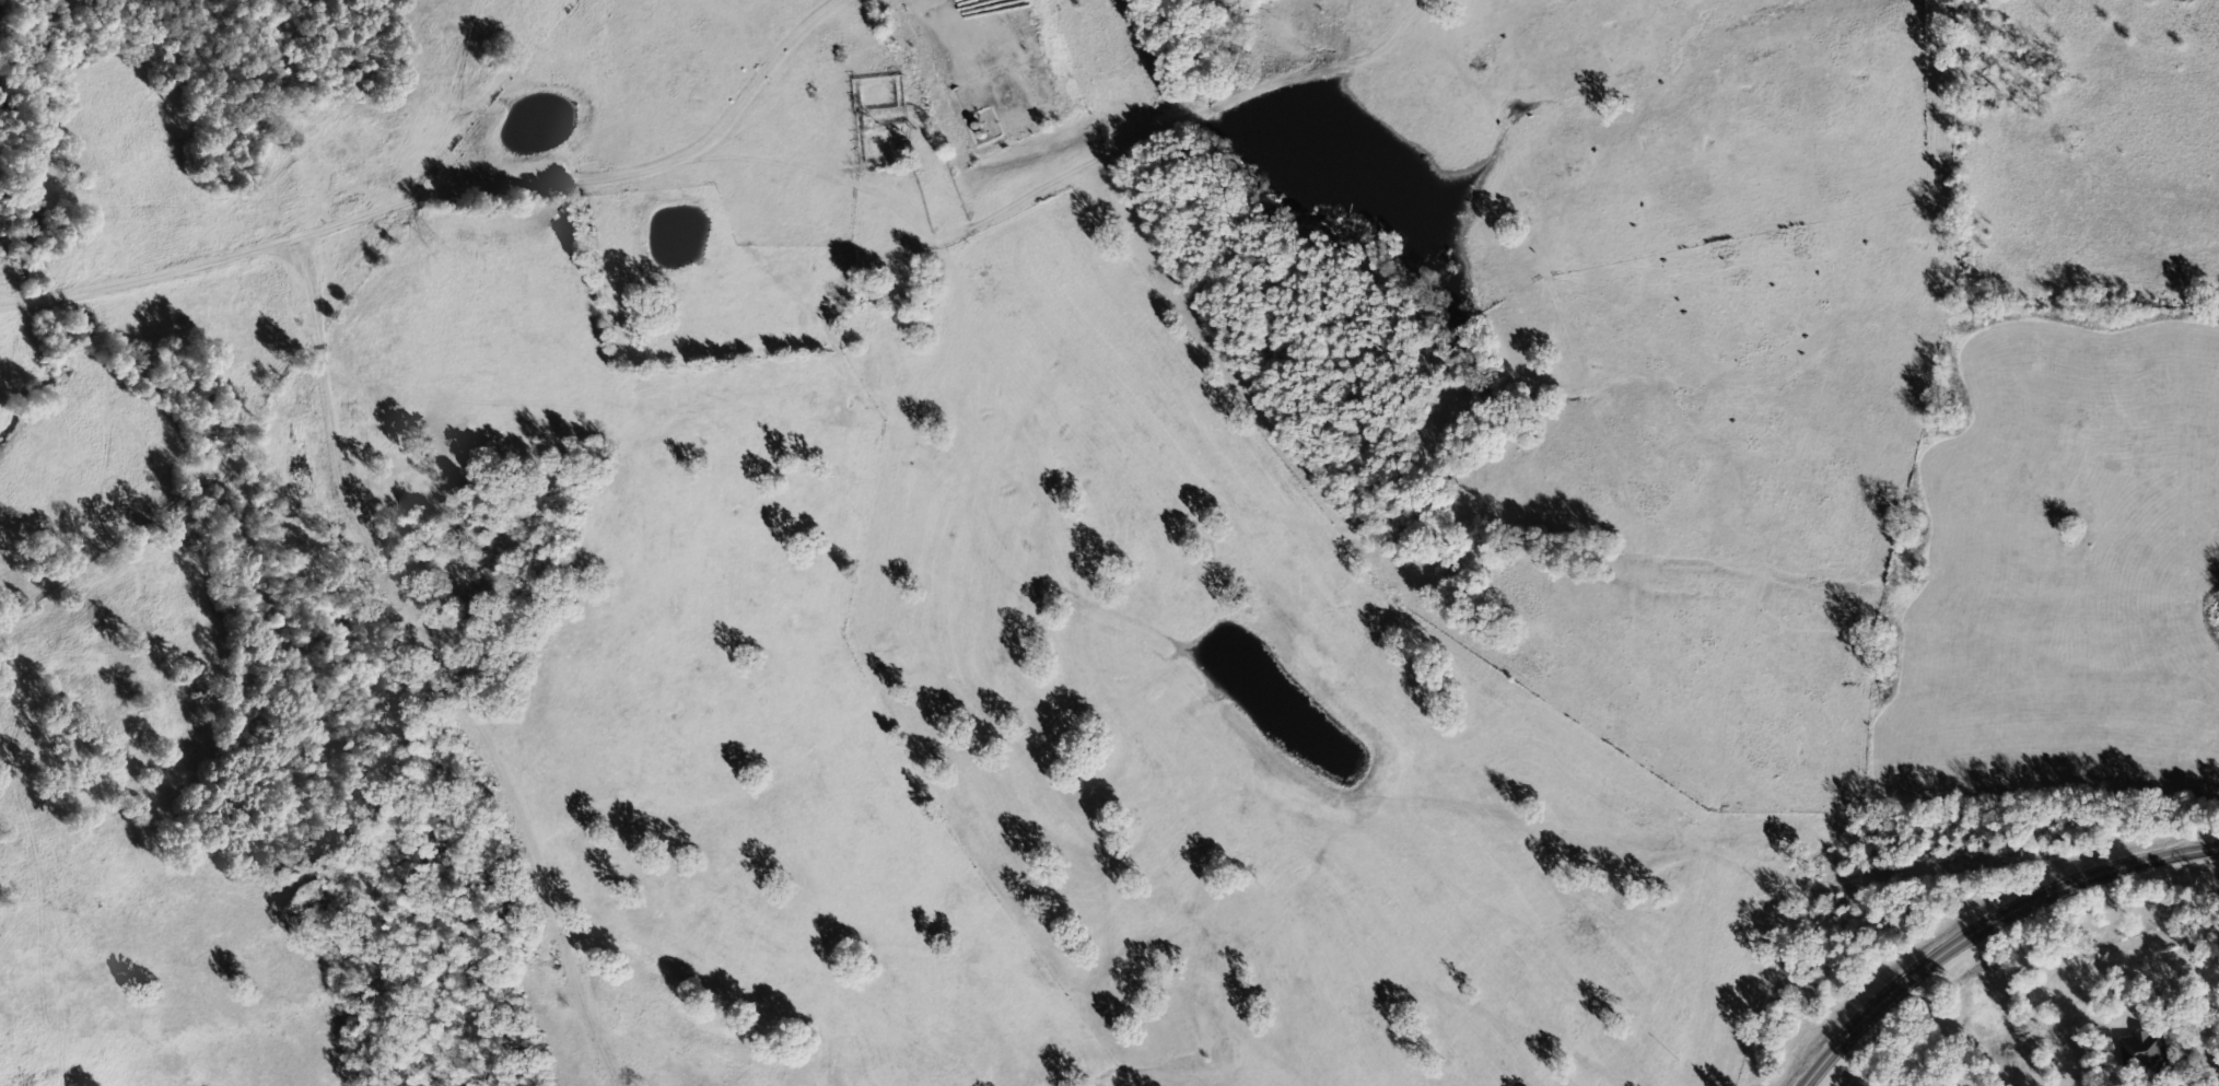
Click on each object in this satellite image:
road: (1988, 924)
building: (2146, 1050)

